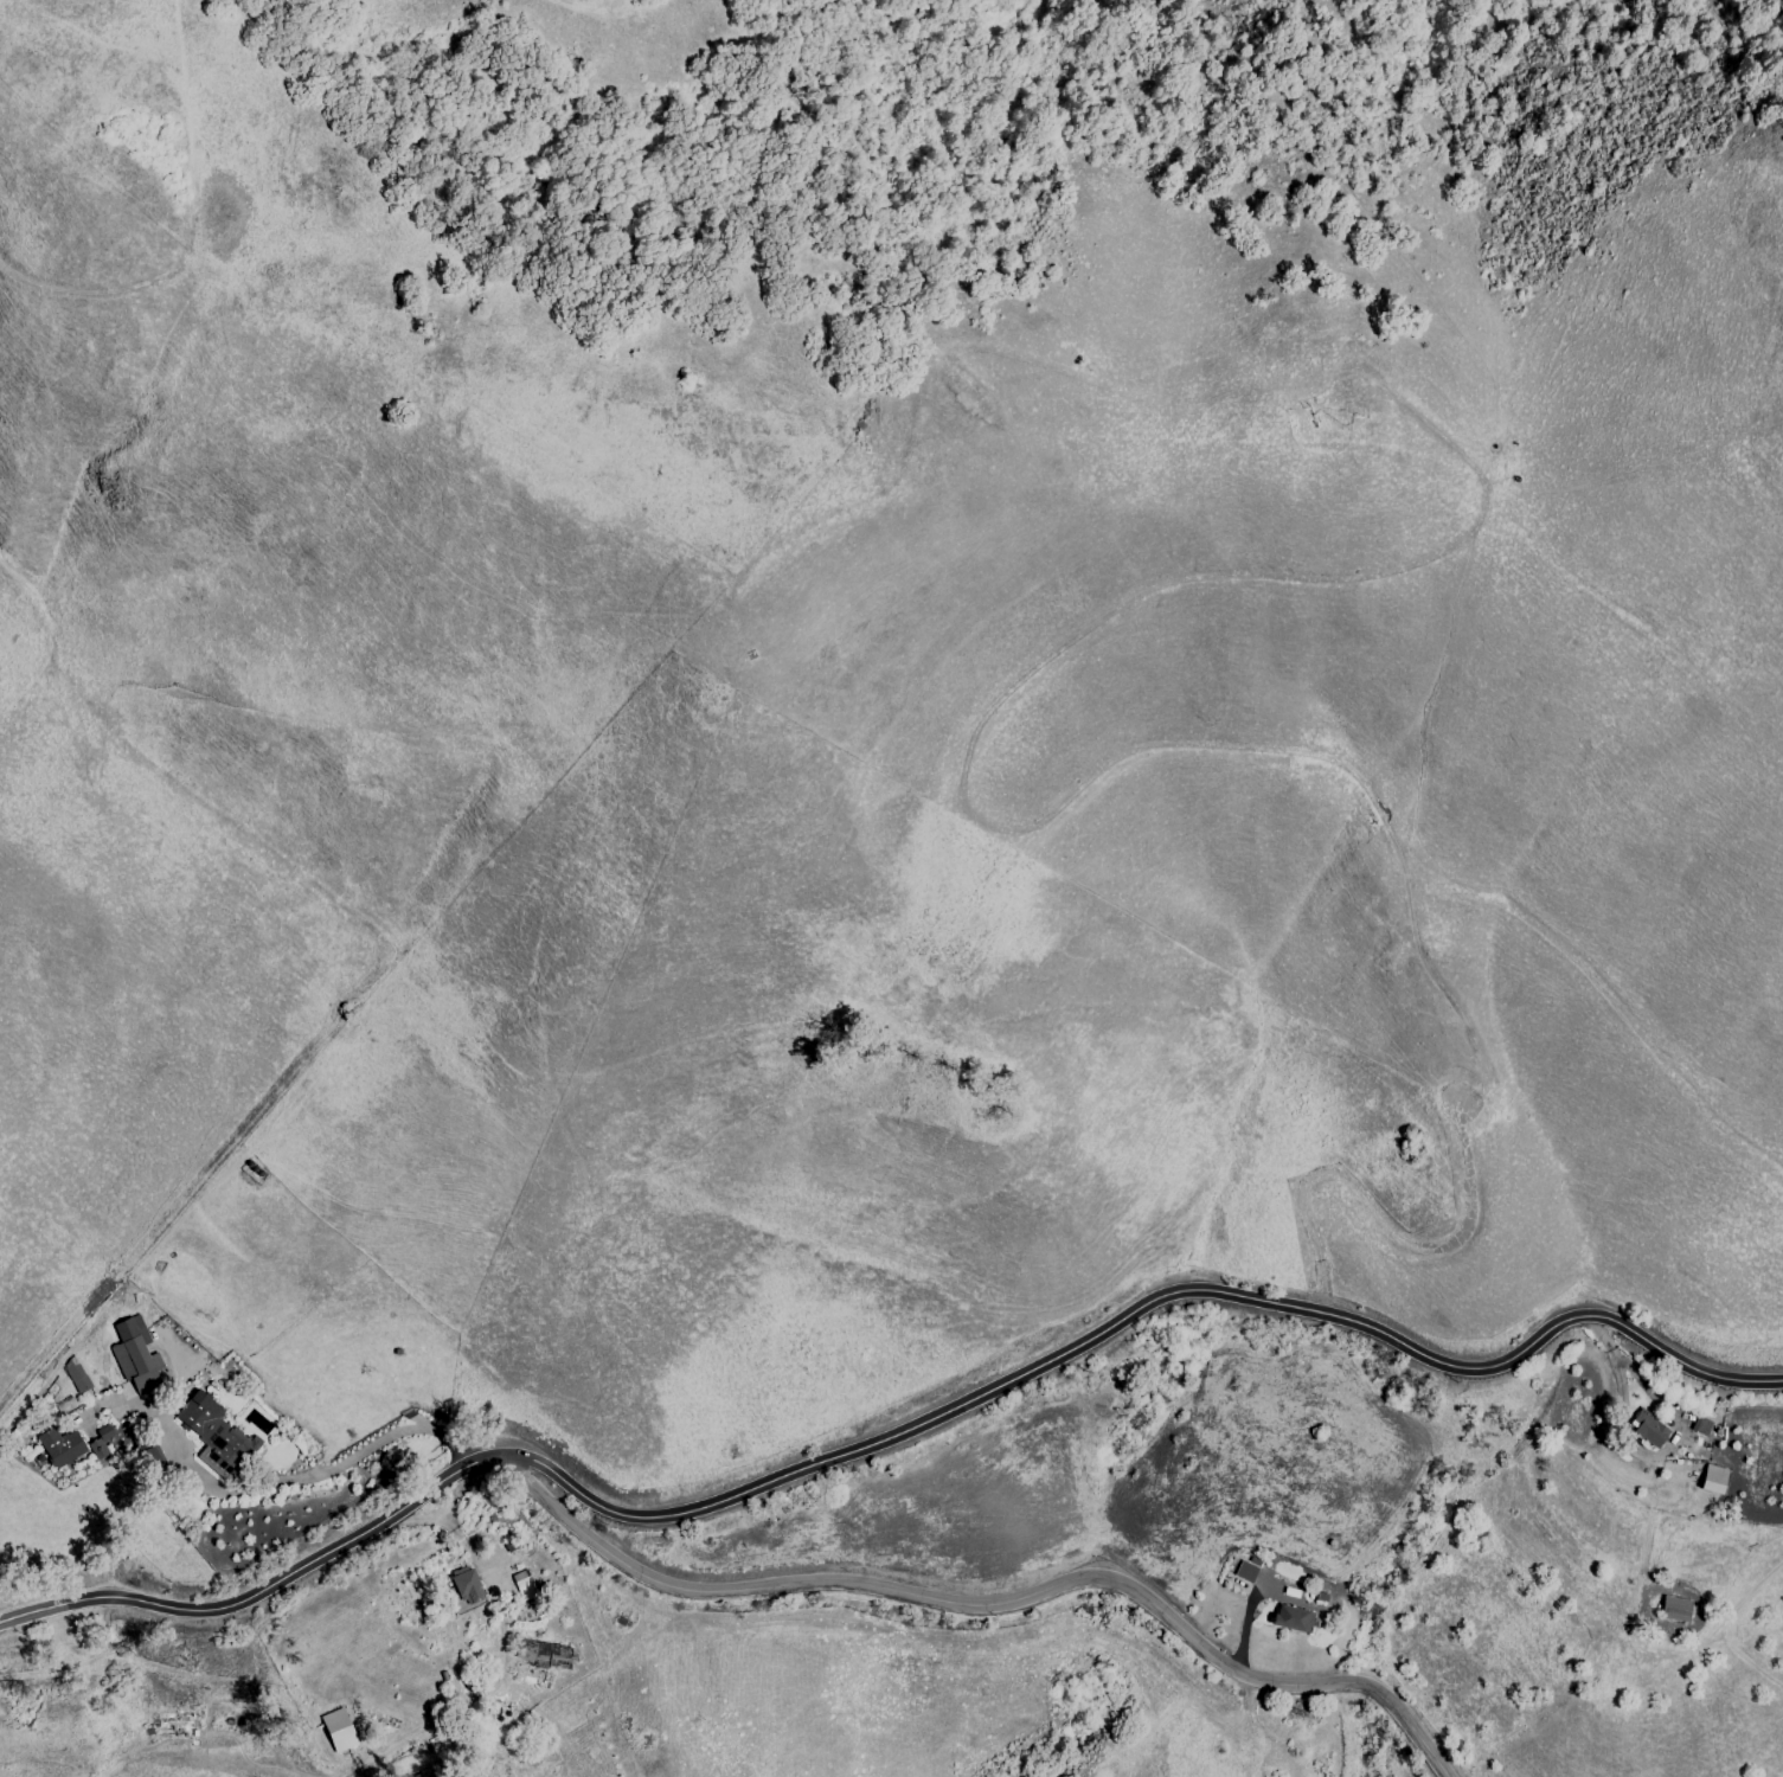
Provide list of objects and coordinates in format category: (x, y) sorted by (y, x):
building: (135, 1354)
road: (1625, 1366)
building: (75, 1374)
building: (1647, 1428)
building: (214, 1435)
road: (891, 1436)
building: (100, 1441)
building: (116, 1443)
building: (59, 1446)
road: (313, 1475)
building: (1712, 1478)
building: (1245, 1568)
building: (466, 1584)
building: (524, 1584)
road: (992, 1603)
building: (1674, 1608)
building: (1291, 1617)
building: (543, 1654)
building: (338, 1730)

